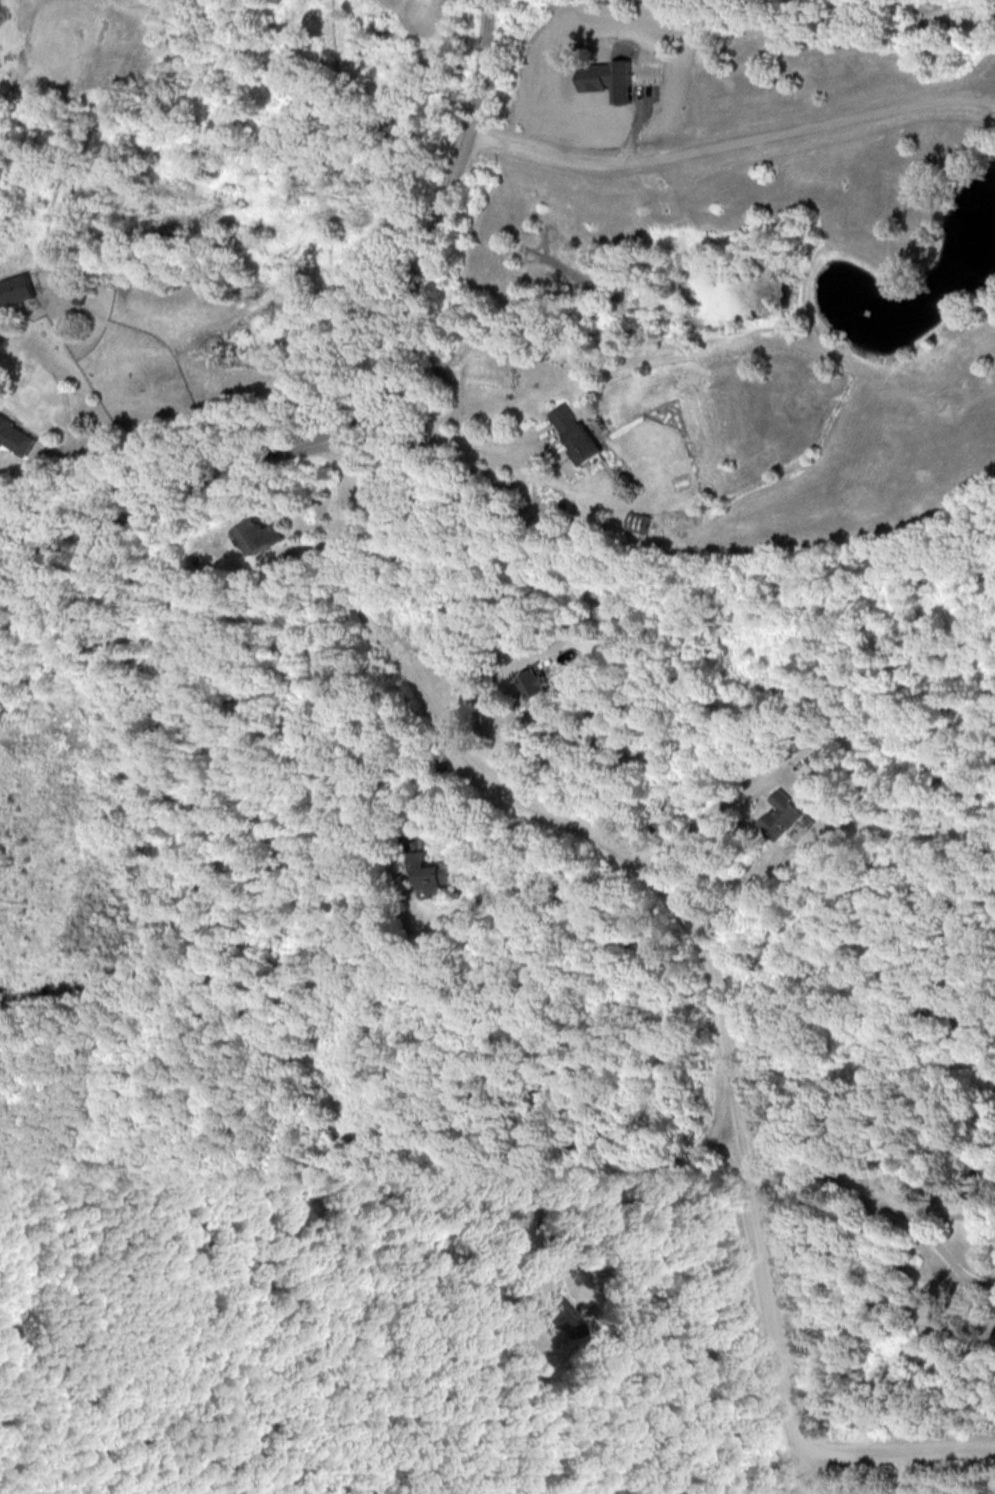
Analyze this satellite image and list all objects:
road: (123, 9)
building: (608, 79)
road: (733, 141)
building: (14, 289)
road: (369, 397)
building: (574, 433)
building: (17, 435)
road: (432, 447)
road: (106, 474)
building: (637, 522)
building: (256, 535)
building: (533, 681)
building: (780, 815)
road: (706, 817)
building: (431, 872)
road: (654, 883)
road: (823, 1181)
road: (956, 1214)
building: (521, 1224)
road: (948, 1263)
building: (563, 1316)
road: (663, 1329)
road: (894, 1443)
road: (904, 1468)
road: (798, 1470)

